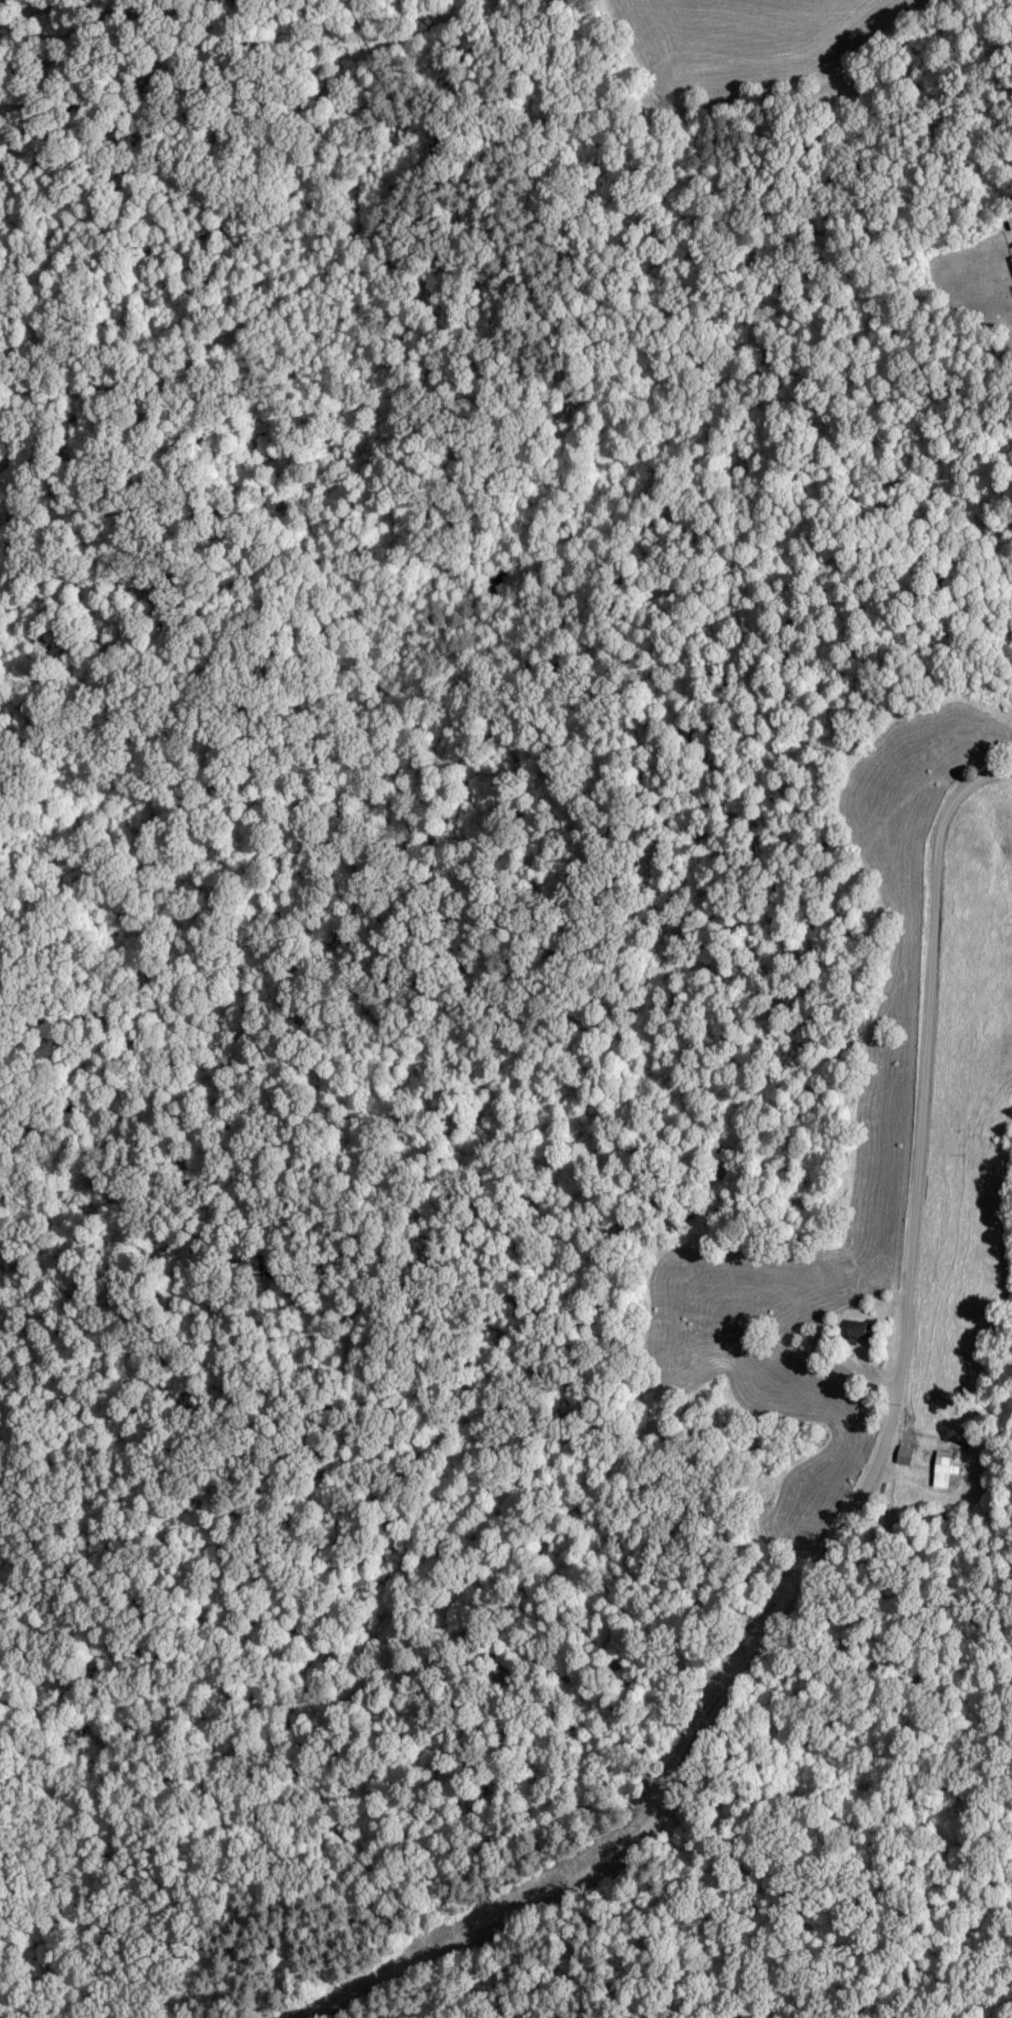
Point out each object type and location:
building: (858, 1331)
building: (843, 1364)
building: (904, 1453)
building: (942, 1467)
road: (865, 1478)

